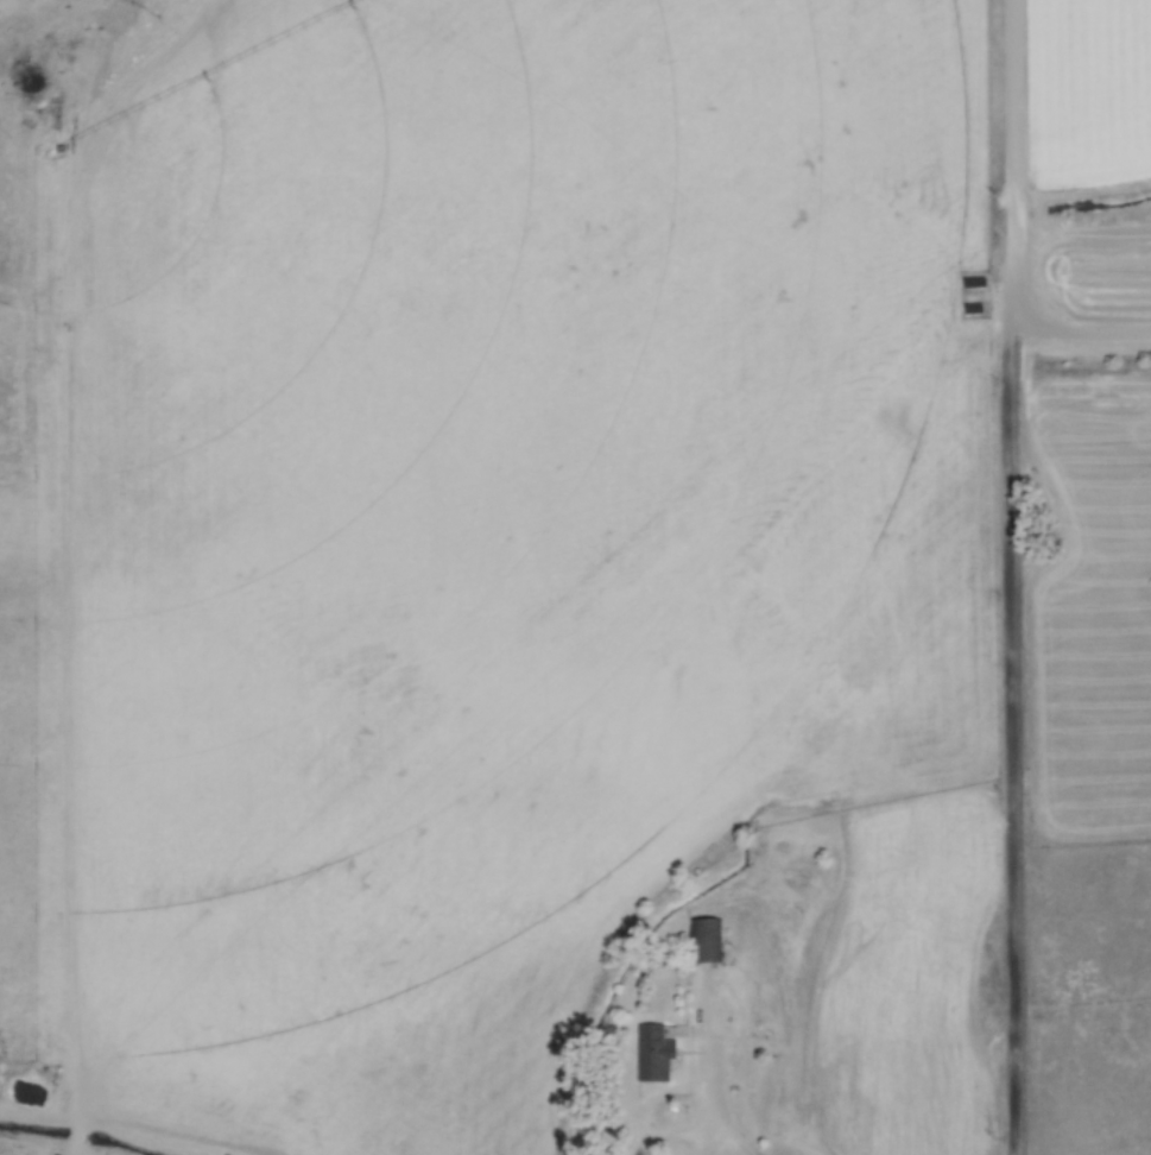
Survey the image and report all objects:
road: (1018, 153)
road: (1082, 330)
road: (1013, 730)
building: (704, 939)
building: (653, 1052)
road: (714, 1100)

